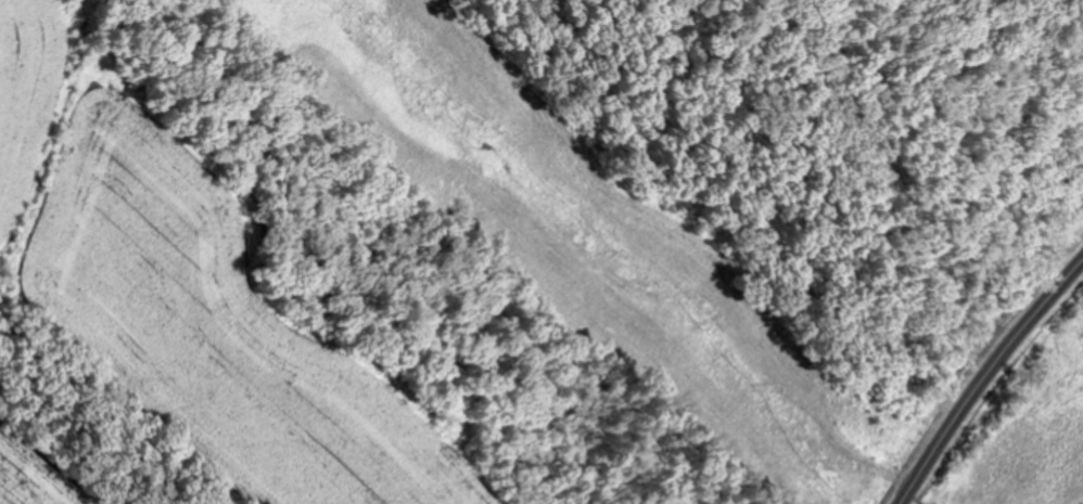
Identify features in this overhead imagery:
road: (985, 376)

